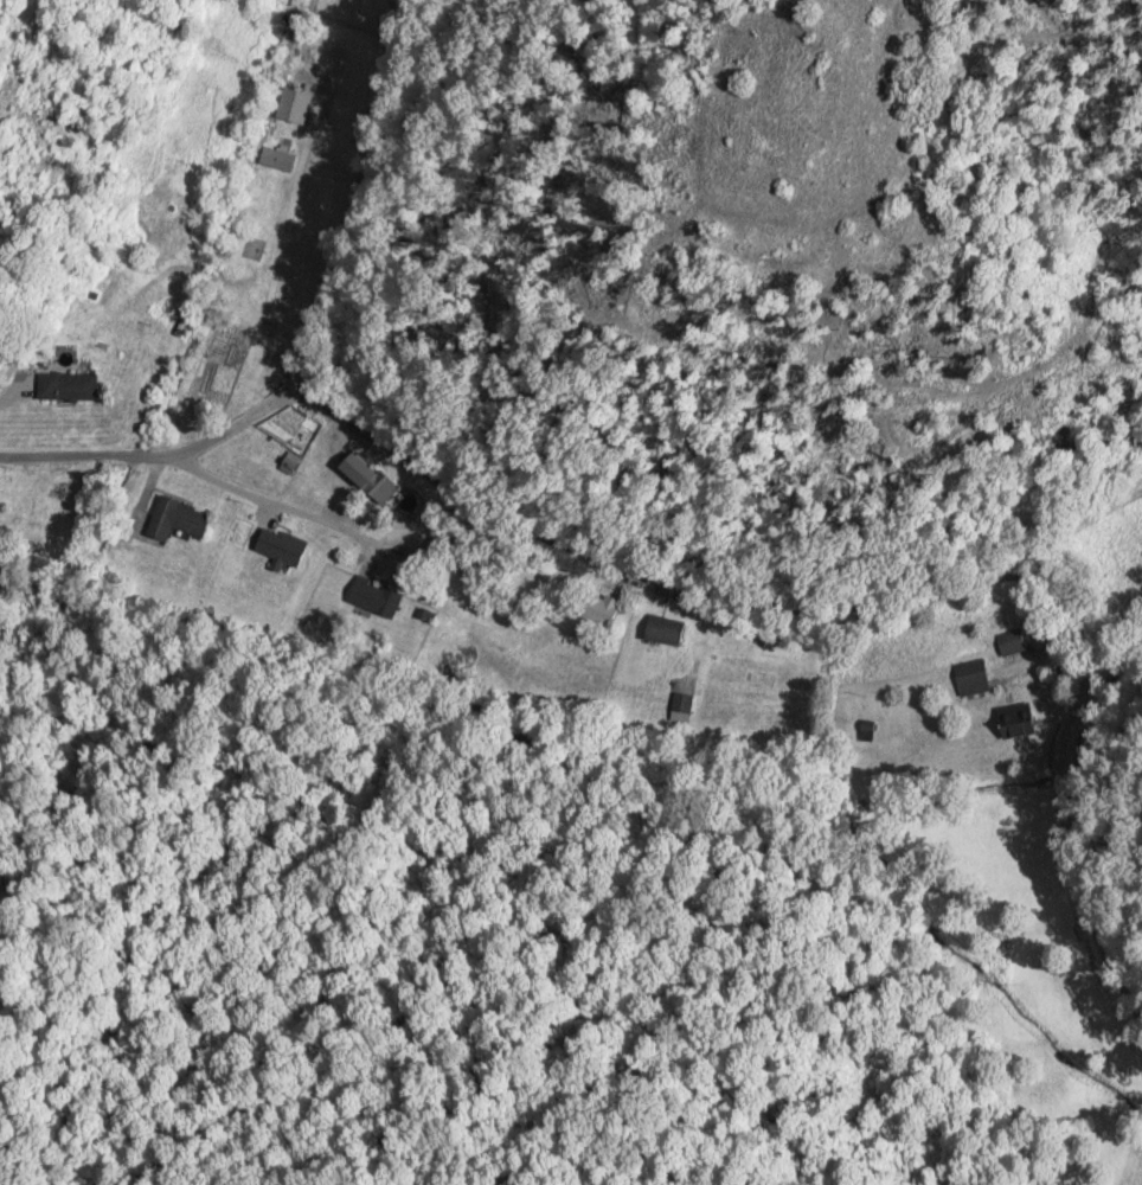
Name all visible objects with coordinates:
building: (276, 159)
road: (351, 193)
building: (65, 386)
road: (290, 389)
building: (357, 472)
building: (177, 520)
building: (280, 546)
road: (609, 561)
building: (373, 596)
building: (596, 608)
building: (661, 630)
building: (1009, 642)
building: (969, 678)
building: (681, 705)
building: (866, 731)

